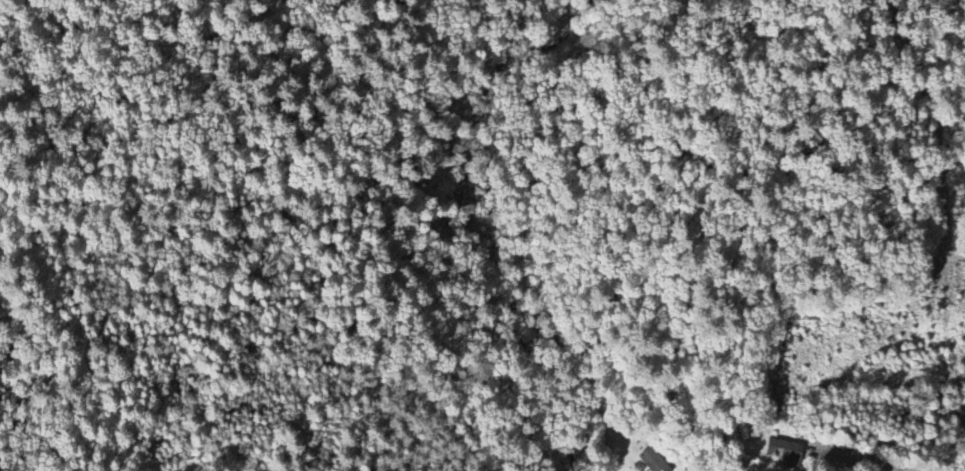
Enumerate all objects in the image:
road: (310, 301)
building: (959, 422)
building: (781, 452)
building: (653, 459)
road: (864, 459)

